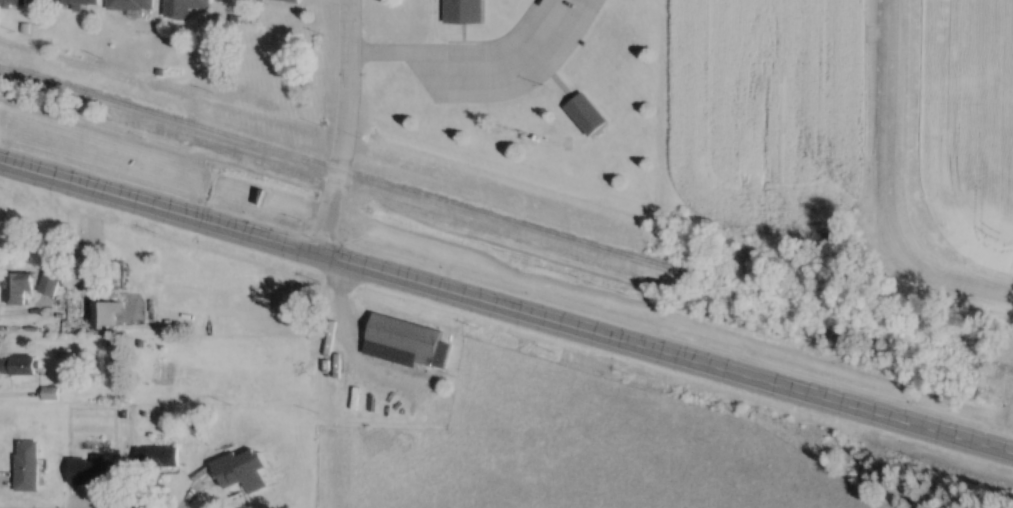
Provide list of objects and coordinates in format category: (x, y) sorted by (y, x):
building: (285, 1)
building: (75, 3)
building: (13, 4)
building: (189, 4)
building: (132, 6)
building: (463, 11)
road: (459, 56)
building: (587, 113)
road: (347, 127)
road: (240, 230)
building: (35, 285)
building: (112, 312)
building: (404, 336)
building: (20, 365)
road: (747, 376)
building: (163, 457)
building: (28, 465)
building: (95, 470)
building: (243, 470)

